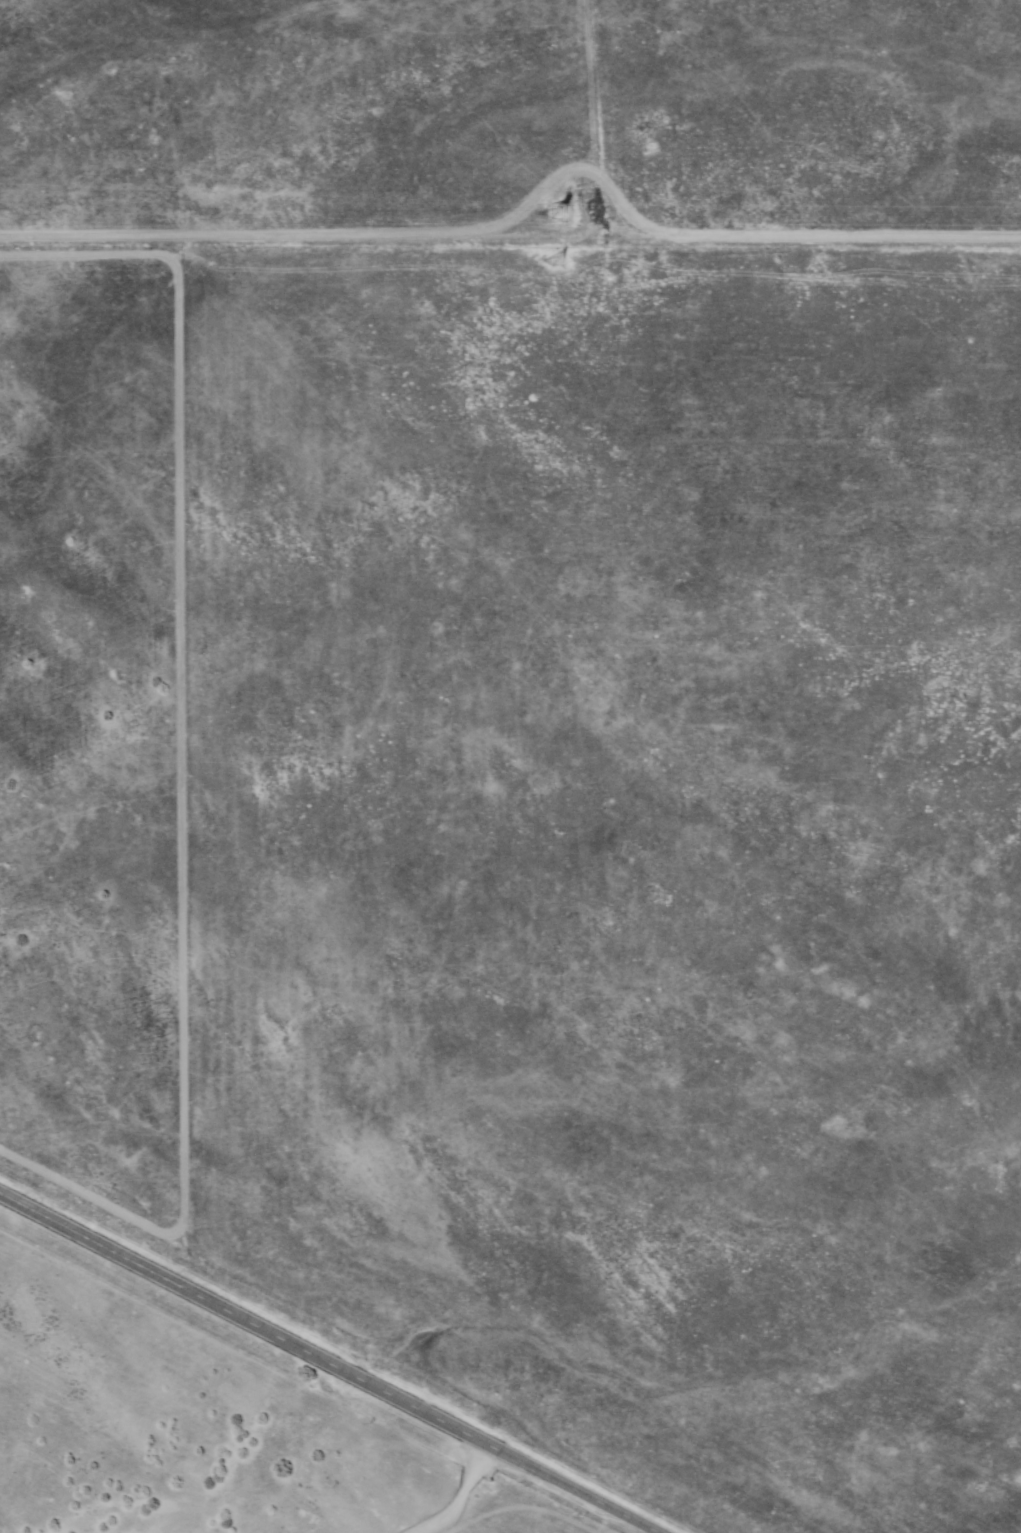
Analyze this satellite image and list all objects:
power tower: (554, 214)
power tower: (558, 263)
road: (330, 1361)
road: (461, 1496)

